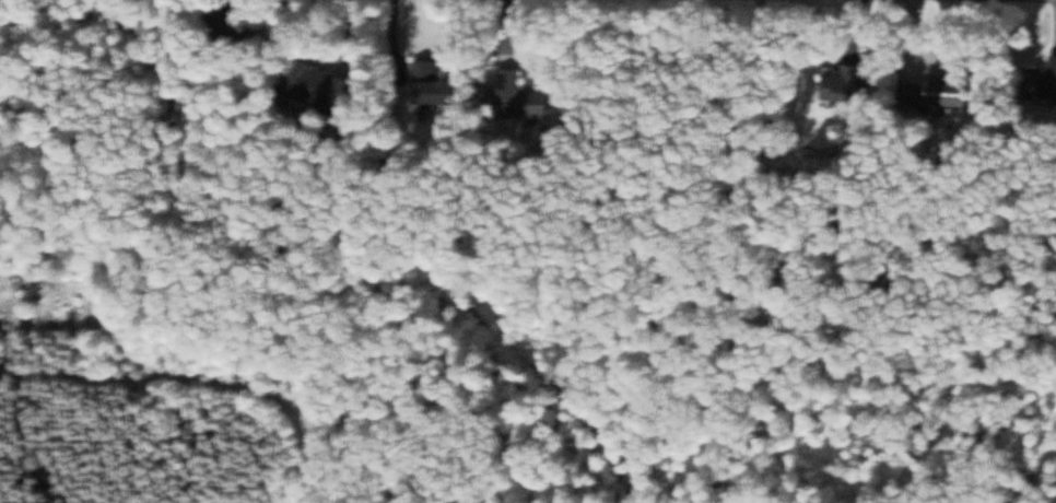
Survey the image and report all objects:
building: (234, 23)
building: (849, 83)
building: (512, 86)
building: (444, 91)
building: (959, 92)
building: (49, 472)

